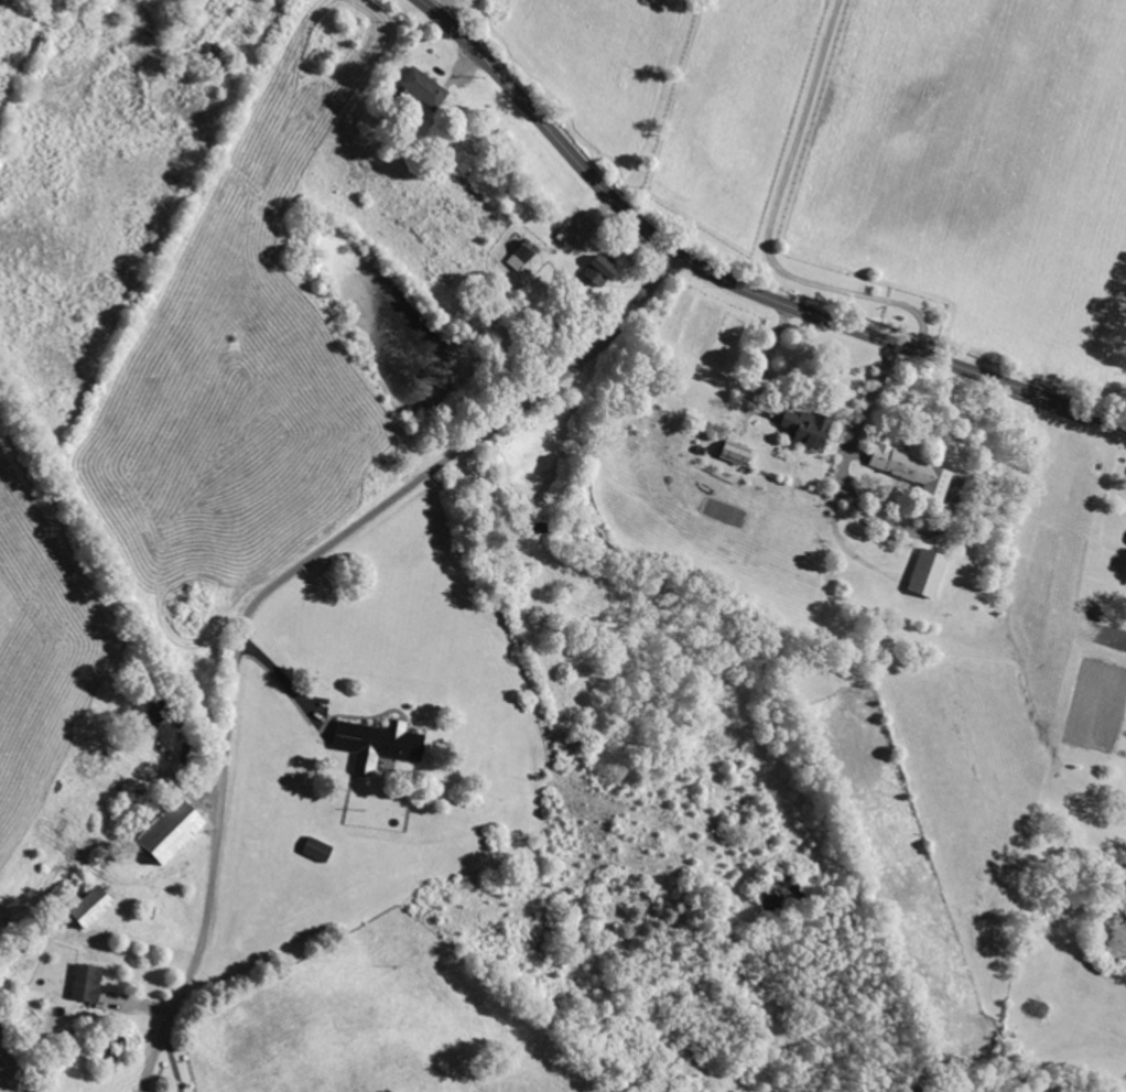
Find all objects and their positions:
park: (555, 44)
building: (421, 88)
road: (769, 225)
building: (517, 255)
building: (594, 270)
road: (728, 281)
building: (802, 426)
road: (847, 448)
building: (910, 471)
building: (923, 573)
road: (271, 586)
road: (285, 685)
building: (375, 744)
building: (162, 831)
building: (313, 850)
building: (84, 907)
building: (84, 983)
road: (173, 1066)

